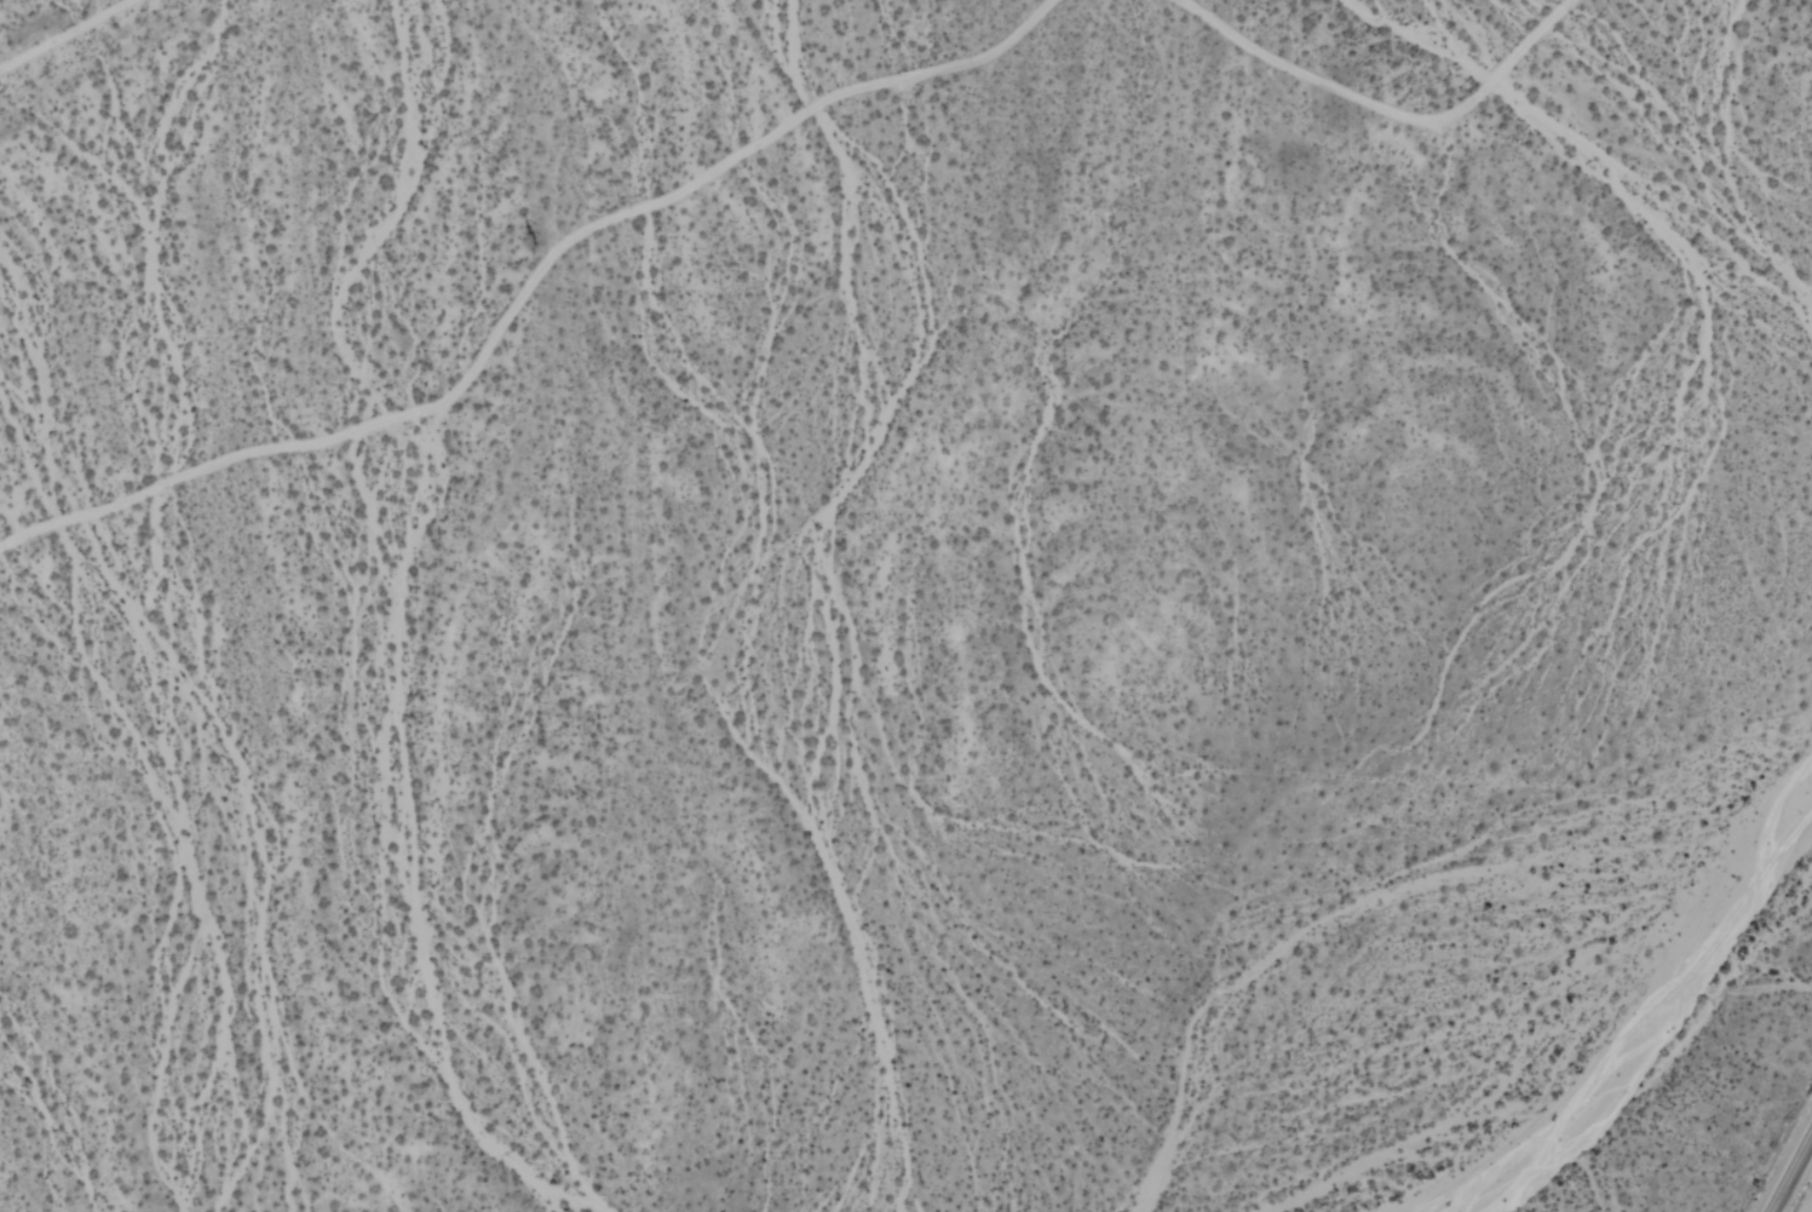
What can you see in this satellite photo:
power tower: (534, 239)
road: (1791, 1173)

